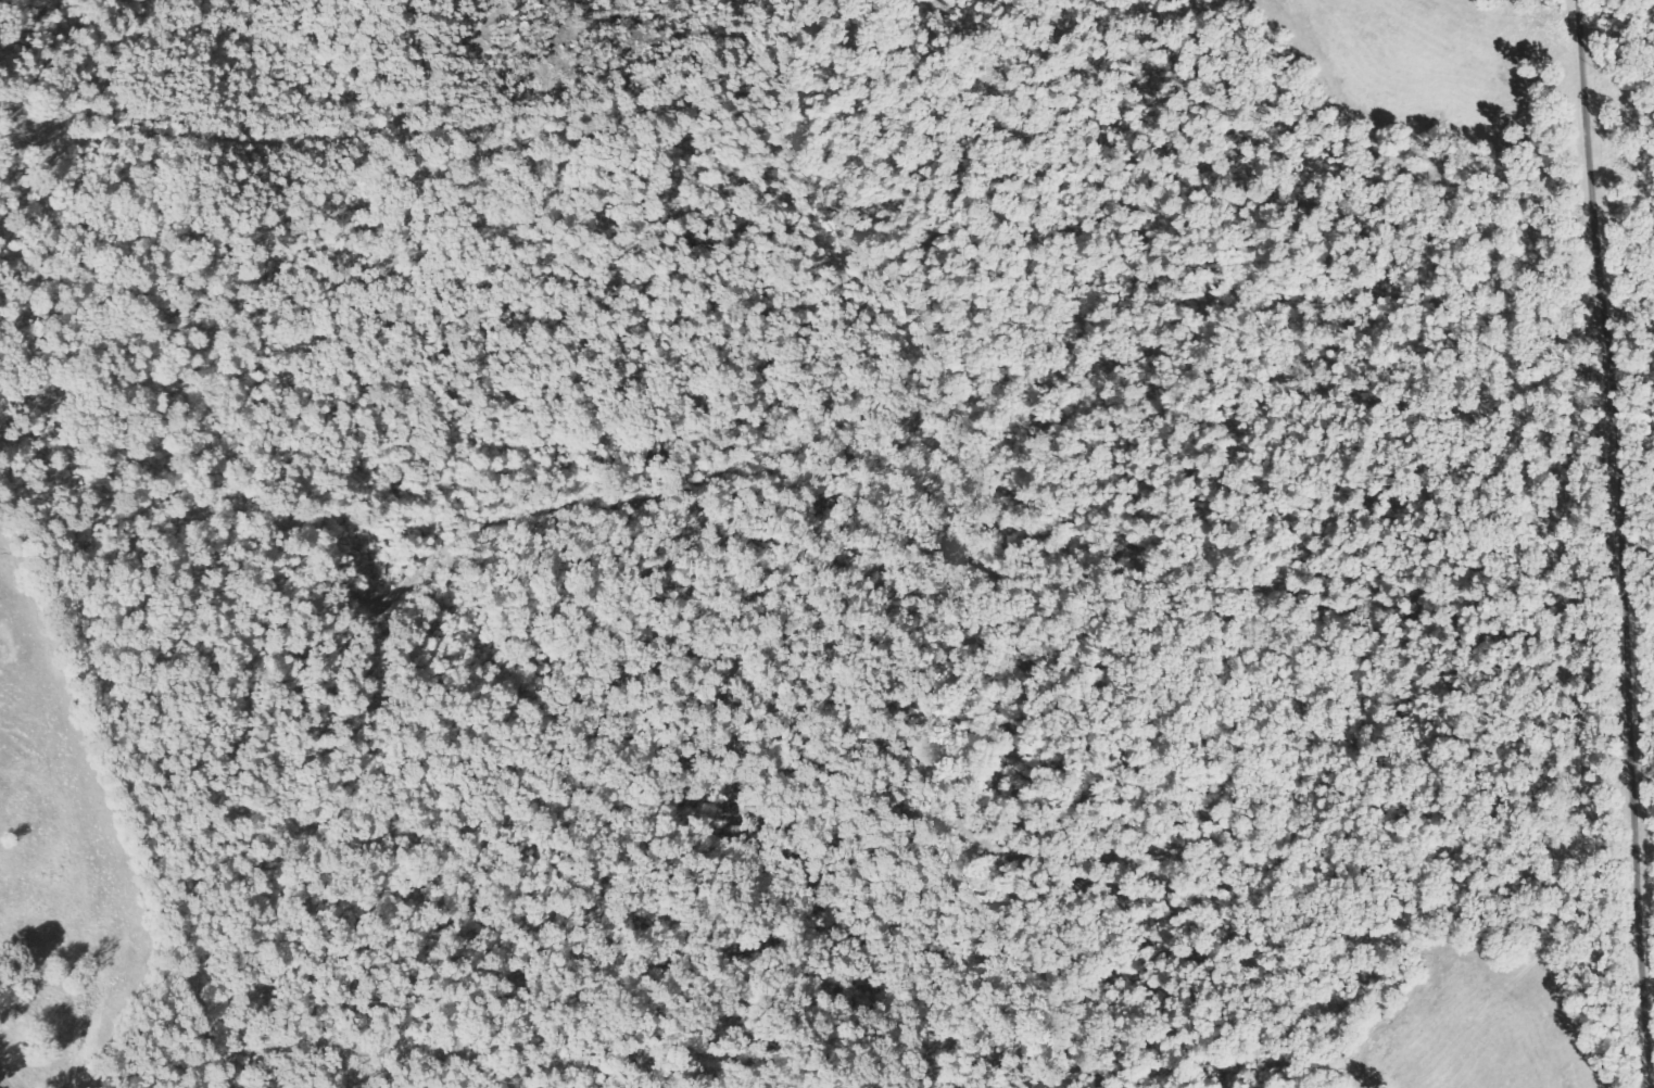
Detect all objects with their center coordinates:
road: (1584, 931)

